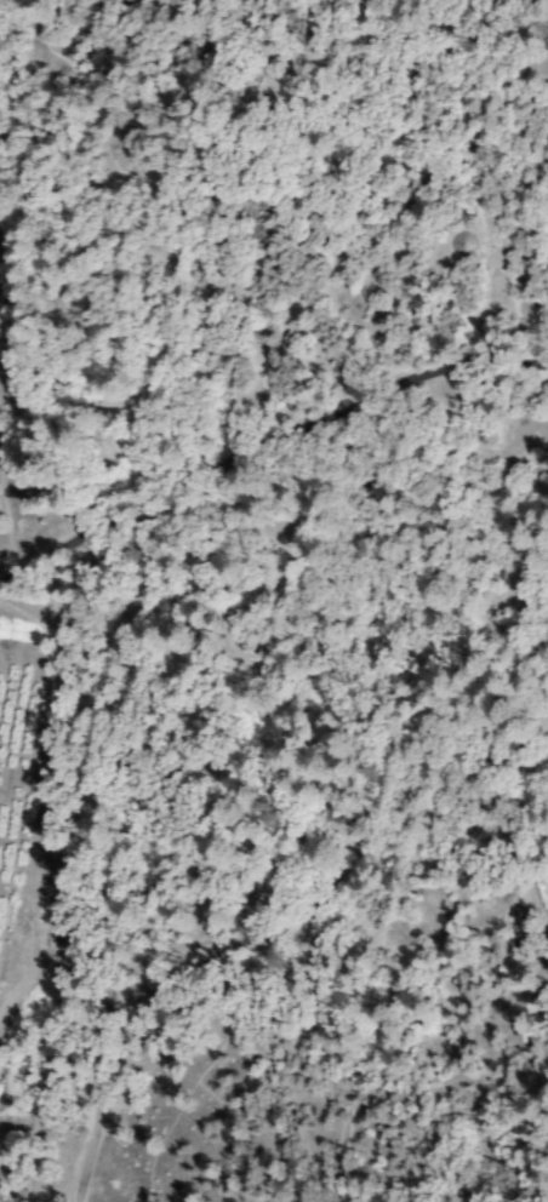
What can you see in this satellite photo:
road: (70, 895)

